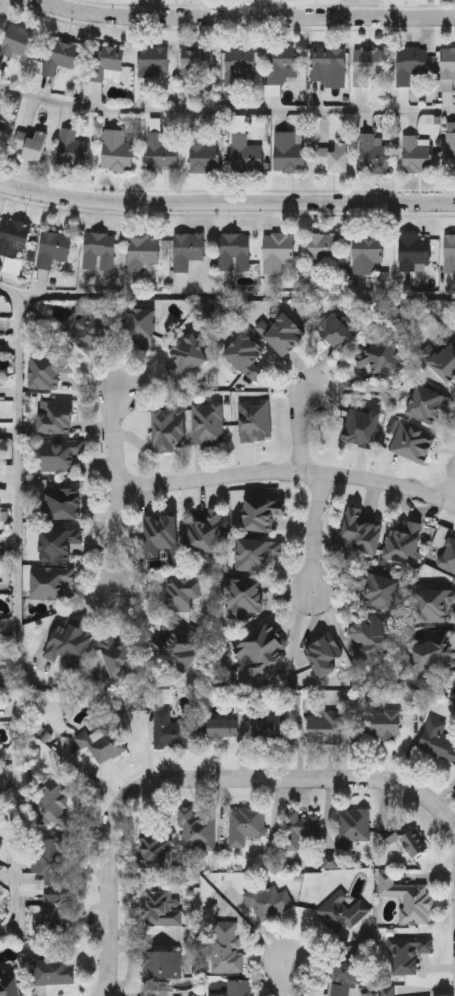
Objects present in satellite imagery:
road: (246, 17)
building: (16, 40)
building: (59, 55)
building: (152, 60)
building: (194, 61)
building: (107, 62)
building: (324, 62)
building: (368, 63)
building: (410, 63)
building: (281, 64)
building: (447, 64)
building: (239, 66)
road: (226, 109)
building: (1, 127)
building: (31, 143)
building: (450, 145)
building: (71, 148)
building: (116, 149)
building: (288, 150)
building: (160, 151)
building: (374, 151)
building: (244, 153)
building: (416, 153)
building: (202, 154)
building: (333, 156)
road: (226, 203)
building: (13, 234)
building: (53, 247)
building: (322, 248)
building: (186, 249)
building: (413, 249)
building: (99, 250)
building: (233, 250)
building: (142, 251)
building: (278, 251)
building: (366, 251)
building: (449, 251)
building: (13, 265)
road: (239, 293)
building: (138, 324)
building: (279, 330)
building: (338, 330)
building: (87, 331)
building: (185, 354)
building: (245, 354)
building: (382, 358)
building: (444, 361)
building: (49, 368)
building: (429, 404)
building: (55, 416)
building: (255, 420)
building: (206, 422)
building: (360, 426)
road: (300, 427)
building: (168, 429)
building: (413, 442)
building: (59, 453)
road: (291, 470)
road: (448, 484)
road: (122, 485)
building: (61, 502)
building: (261, 513)
building: (204, 531)
building: (359, 531)
road: (315, 534)
building: (161, 536)
building: (404, 542)
building: (57, 543)
building: (255, 552)
building: (447, 555)
building: (48, 581)
building: (378, 589)
building: (182, 593)
building: (243, 597)
road: (16, 601)
building: (433, 603)
building: (373, 635)
building: (69, 643)
road: (295, 645)
building: (174, 648)
building: (261, 649)
building: (323, 654)
building: (432, 655)
building: (119, 658)
building: (381, 724)
building: (325, 727)
building: (222, 728)
building: (268, 728)
building: (170, 730)
building: (110, 737)
building: (436, 739)
road: (195, 778)
building: (52, 799)
building: (245, 823)
building: (353, 825)
building: (298, 827)
building: (196, 828)
building: (391, 835)
building: (0, 841)
building: (413, 842)
building: (153, 850)
building: (51, 857)
building: (331, 860)
building: (406, 896)
building: (266, 899)
building: (160, 907)
building: (341, 910)
building: (55, 914)
building: (225, 945)
building: (405, 952)
building: (161, 963)
building: (54, 970)
building: (342, 977)
road: (288, 979)
building: (9, 986)
building: (233, 988)
building: (386, 991)

